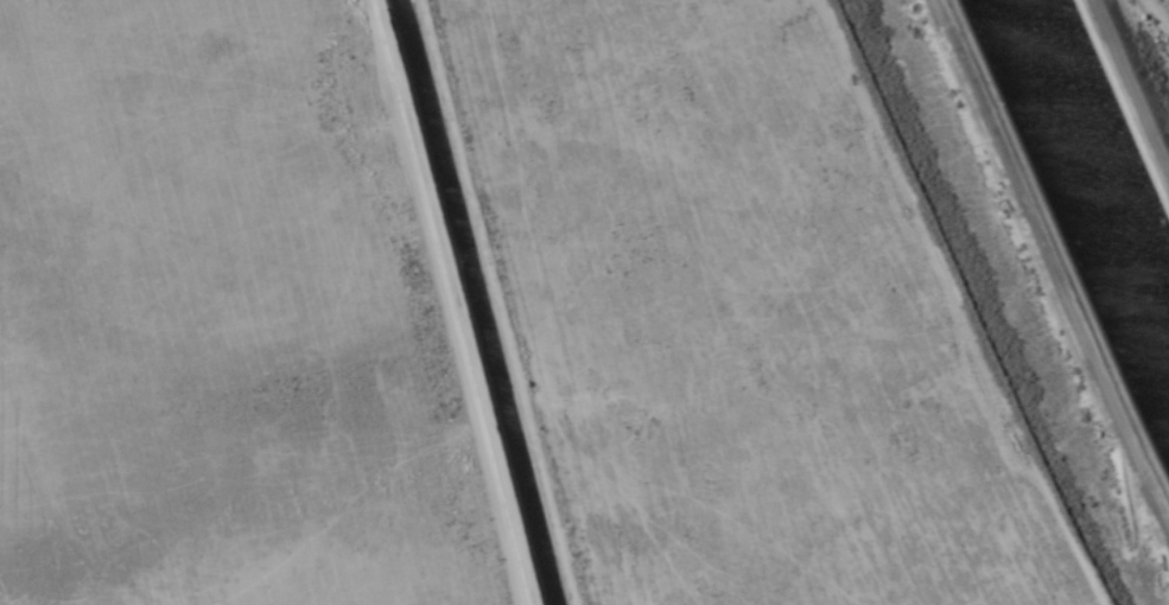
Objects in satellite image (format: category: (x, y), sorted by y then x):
road: (1139, 68)
road: (1052, 257)

